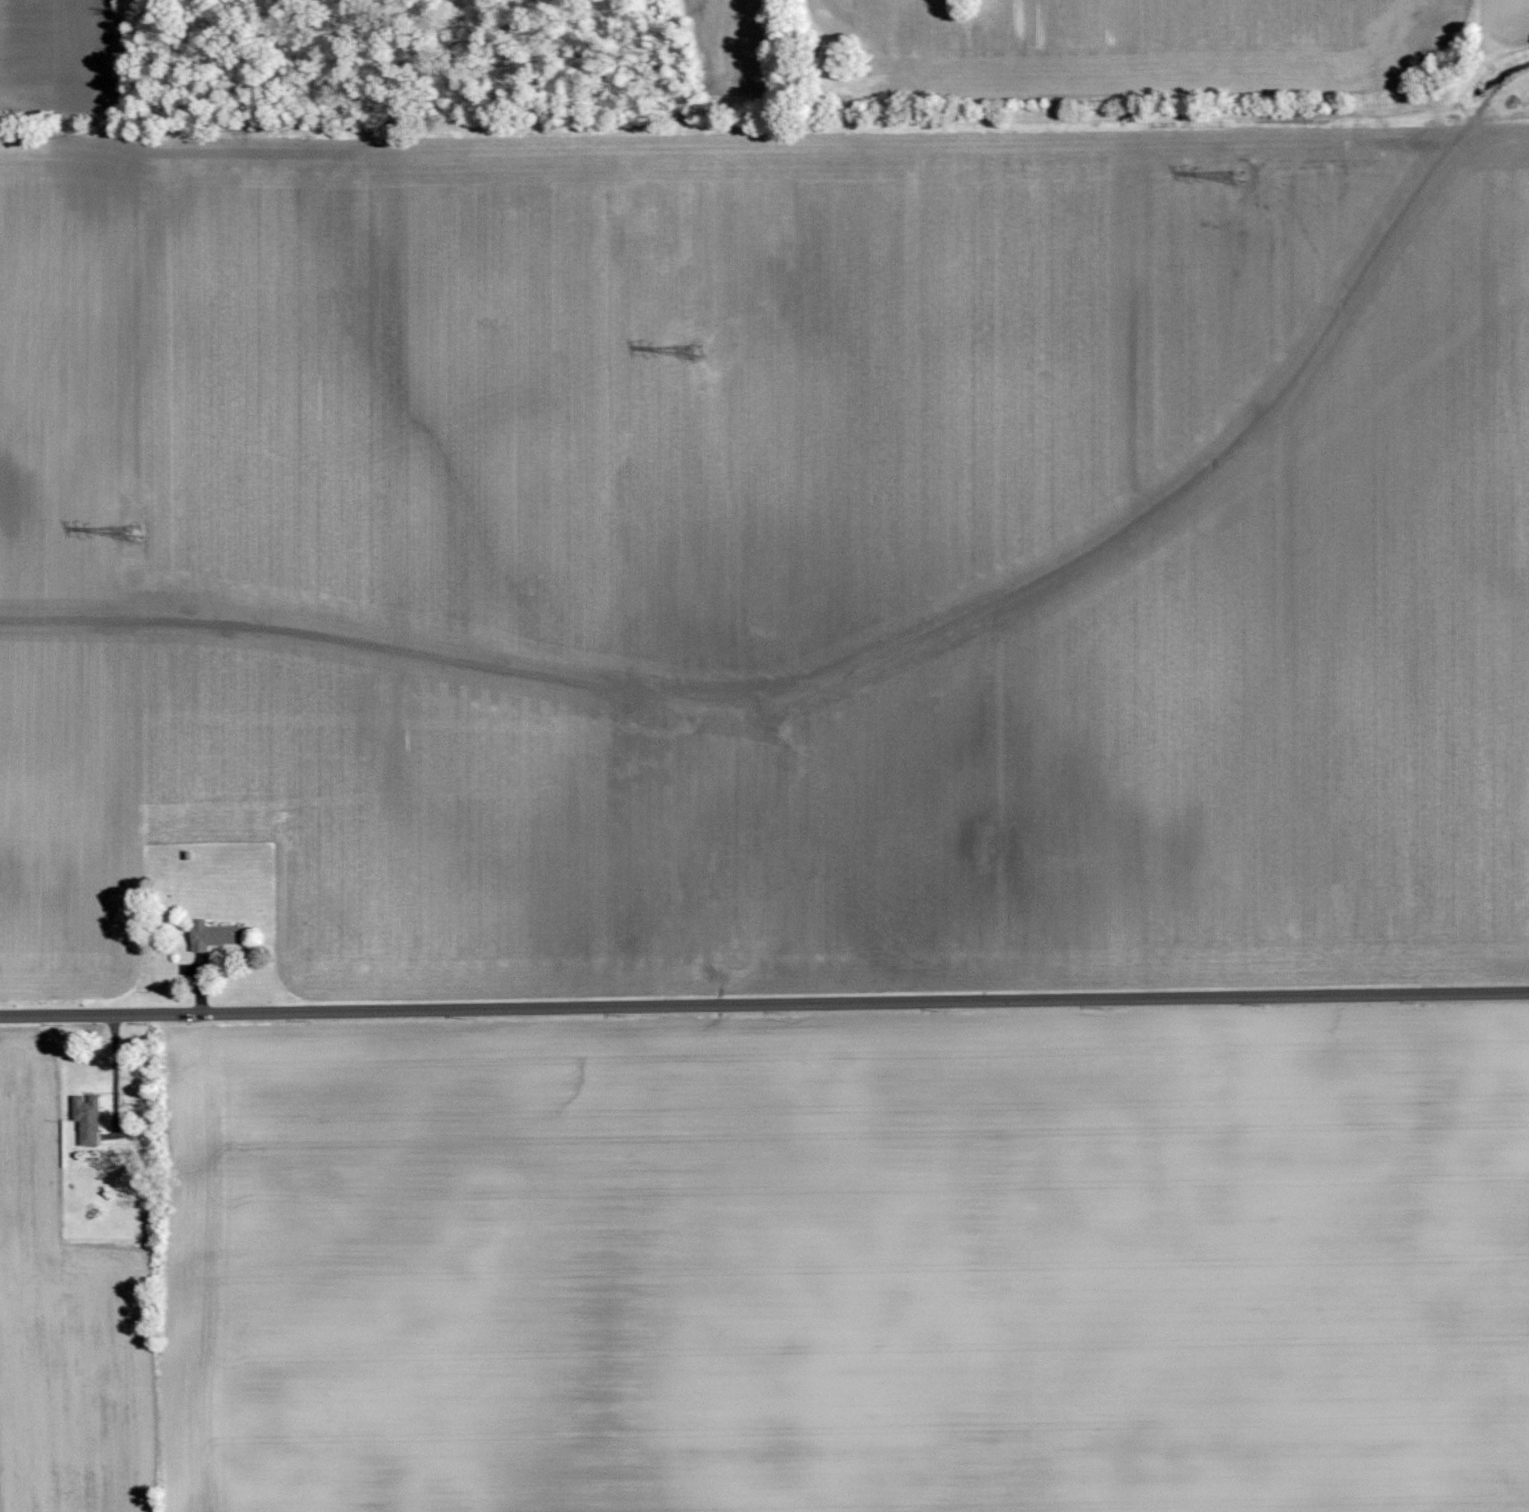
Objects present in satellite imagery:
power tower: (1238, 179)
power tower: (696, 351)
power tower: (133, 533)
building: (213, 936)
road: (764, 1004)
building: (87, 1120)

